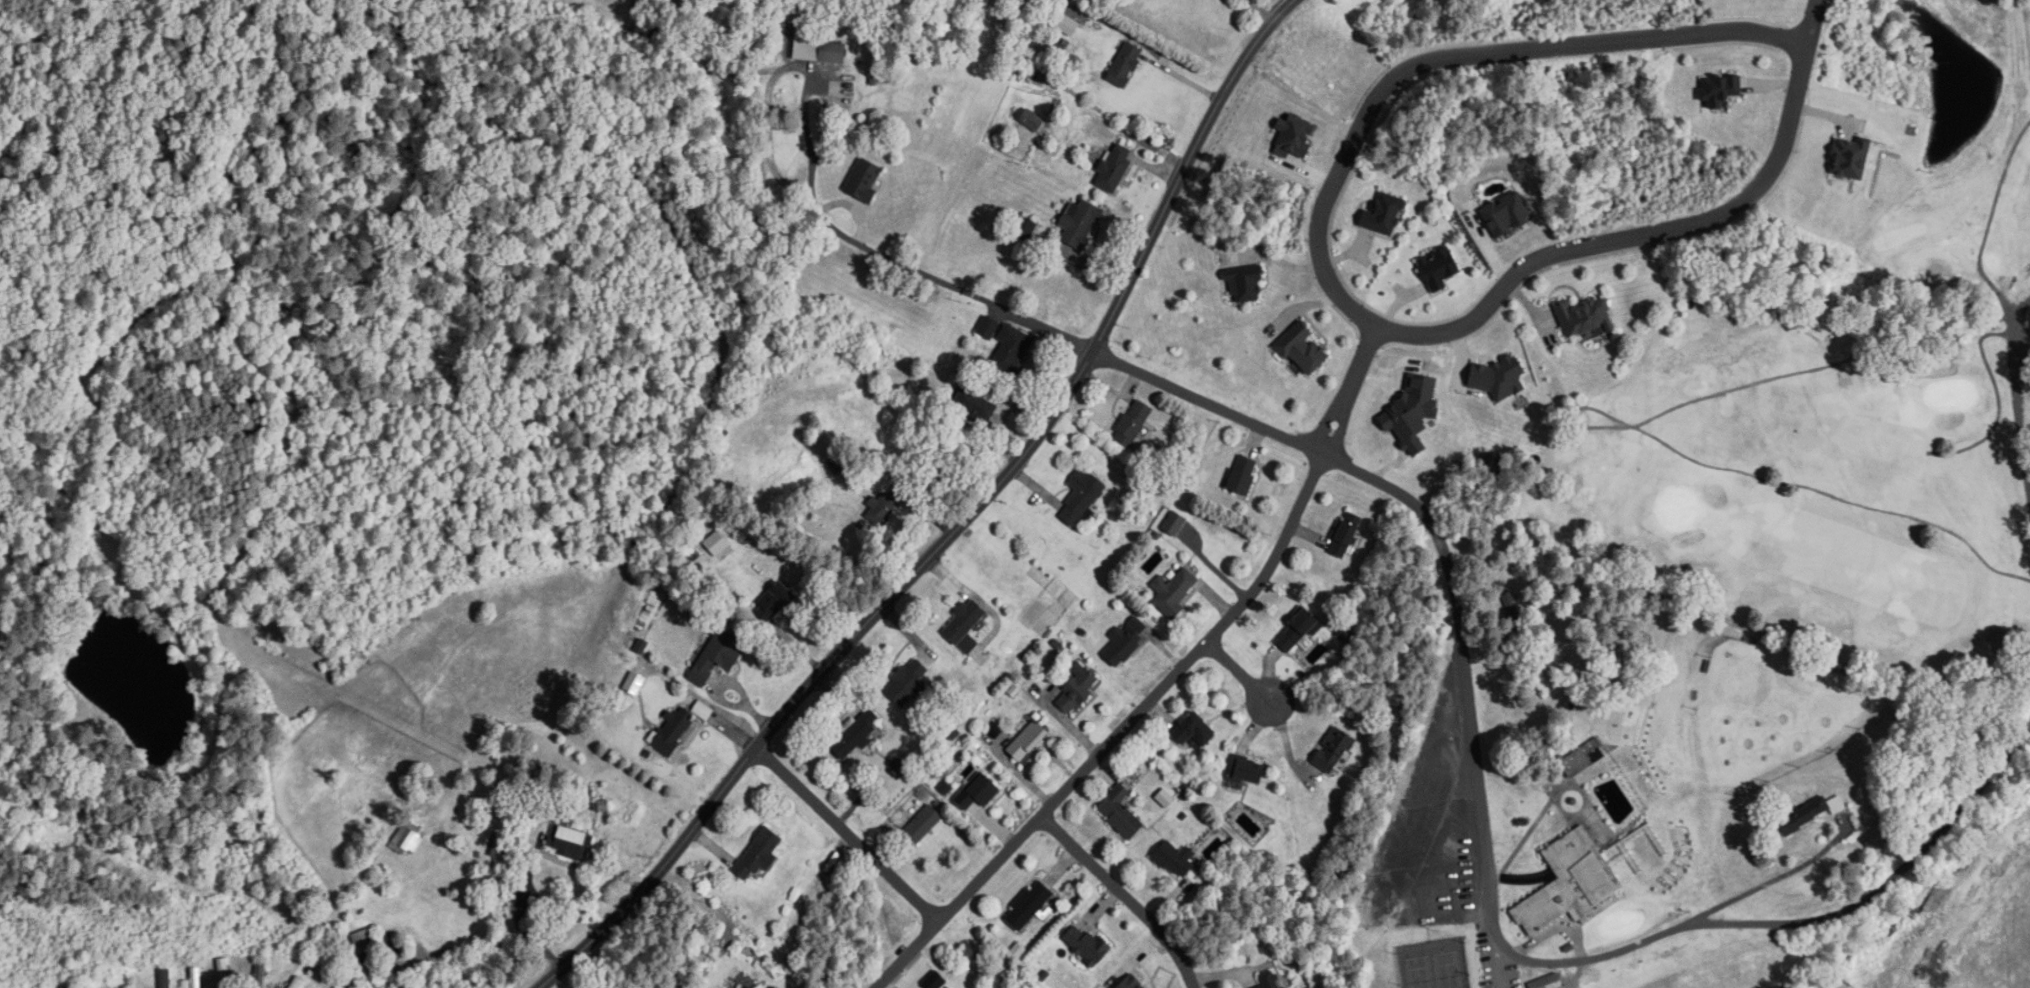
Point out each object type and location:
road: (1278, 6)
road: (1262, 14)
building: (833, 53)
building: (1126, 65)
road: (1450, 66)
building: (1720, 89)
building: (1032, 121)
building: (1115, 168)
building: (865, 180)
building: (1386, 214)
building: (1080, 223)
road: (1657, 242)
building: (1245, 283)
building: (1585, 317)
building: (988, 328)
building: (1012, 350)
road: (1348, 396)
road: (2017, 397)
building: (975, 406)
building: (1133, 424)
building: (1244, 475)
building: (1082, 497)
building: (886, 506)
road: (960, 524)
building: (1346, 535)
building: (1174, 592)
building: (773, 602)
building: (964, 621)
building: (1297, 630)
road: (1461, 640)
building: (1126, 642)
building: (718, 657)
road: (1238, 671)
building: (907, 682)
building: (634, 683)
building: (1077, 692)
building: (703, 710)
building: (1194, 730)
building: (673, 731)
road: (1119, 733)
building: (856, 735)
building: (1028, 741)
building: (1334, 750)
building: (1583, 757)
building: (1248, 770)
building: (981, 793)
building: (1120, 813)
building: (1811, 814)
building: (924, 824)
road: (848, 834)
building: (408, 841)
building: (570, 842)
building: (759, 855)
building: (1175, 860)
road: (1766, 882)
building: (1570, 883)
road: (1125, 896)
building: (1029, 906)
road: (489, 940)
building: (1087, 945)
building: (366, 948)
building: (224, 973)
building: (260, 974)
building: (335, 975)
building: (197, 977)
building: (1269, 980)
building: (1548, 982)
building: (297, 983)
building: (1131, 983)
building: (97, 986)
building: (747, 987)
building: (774, 987)

